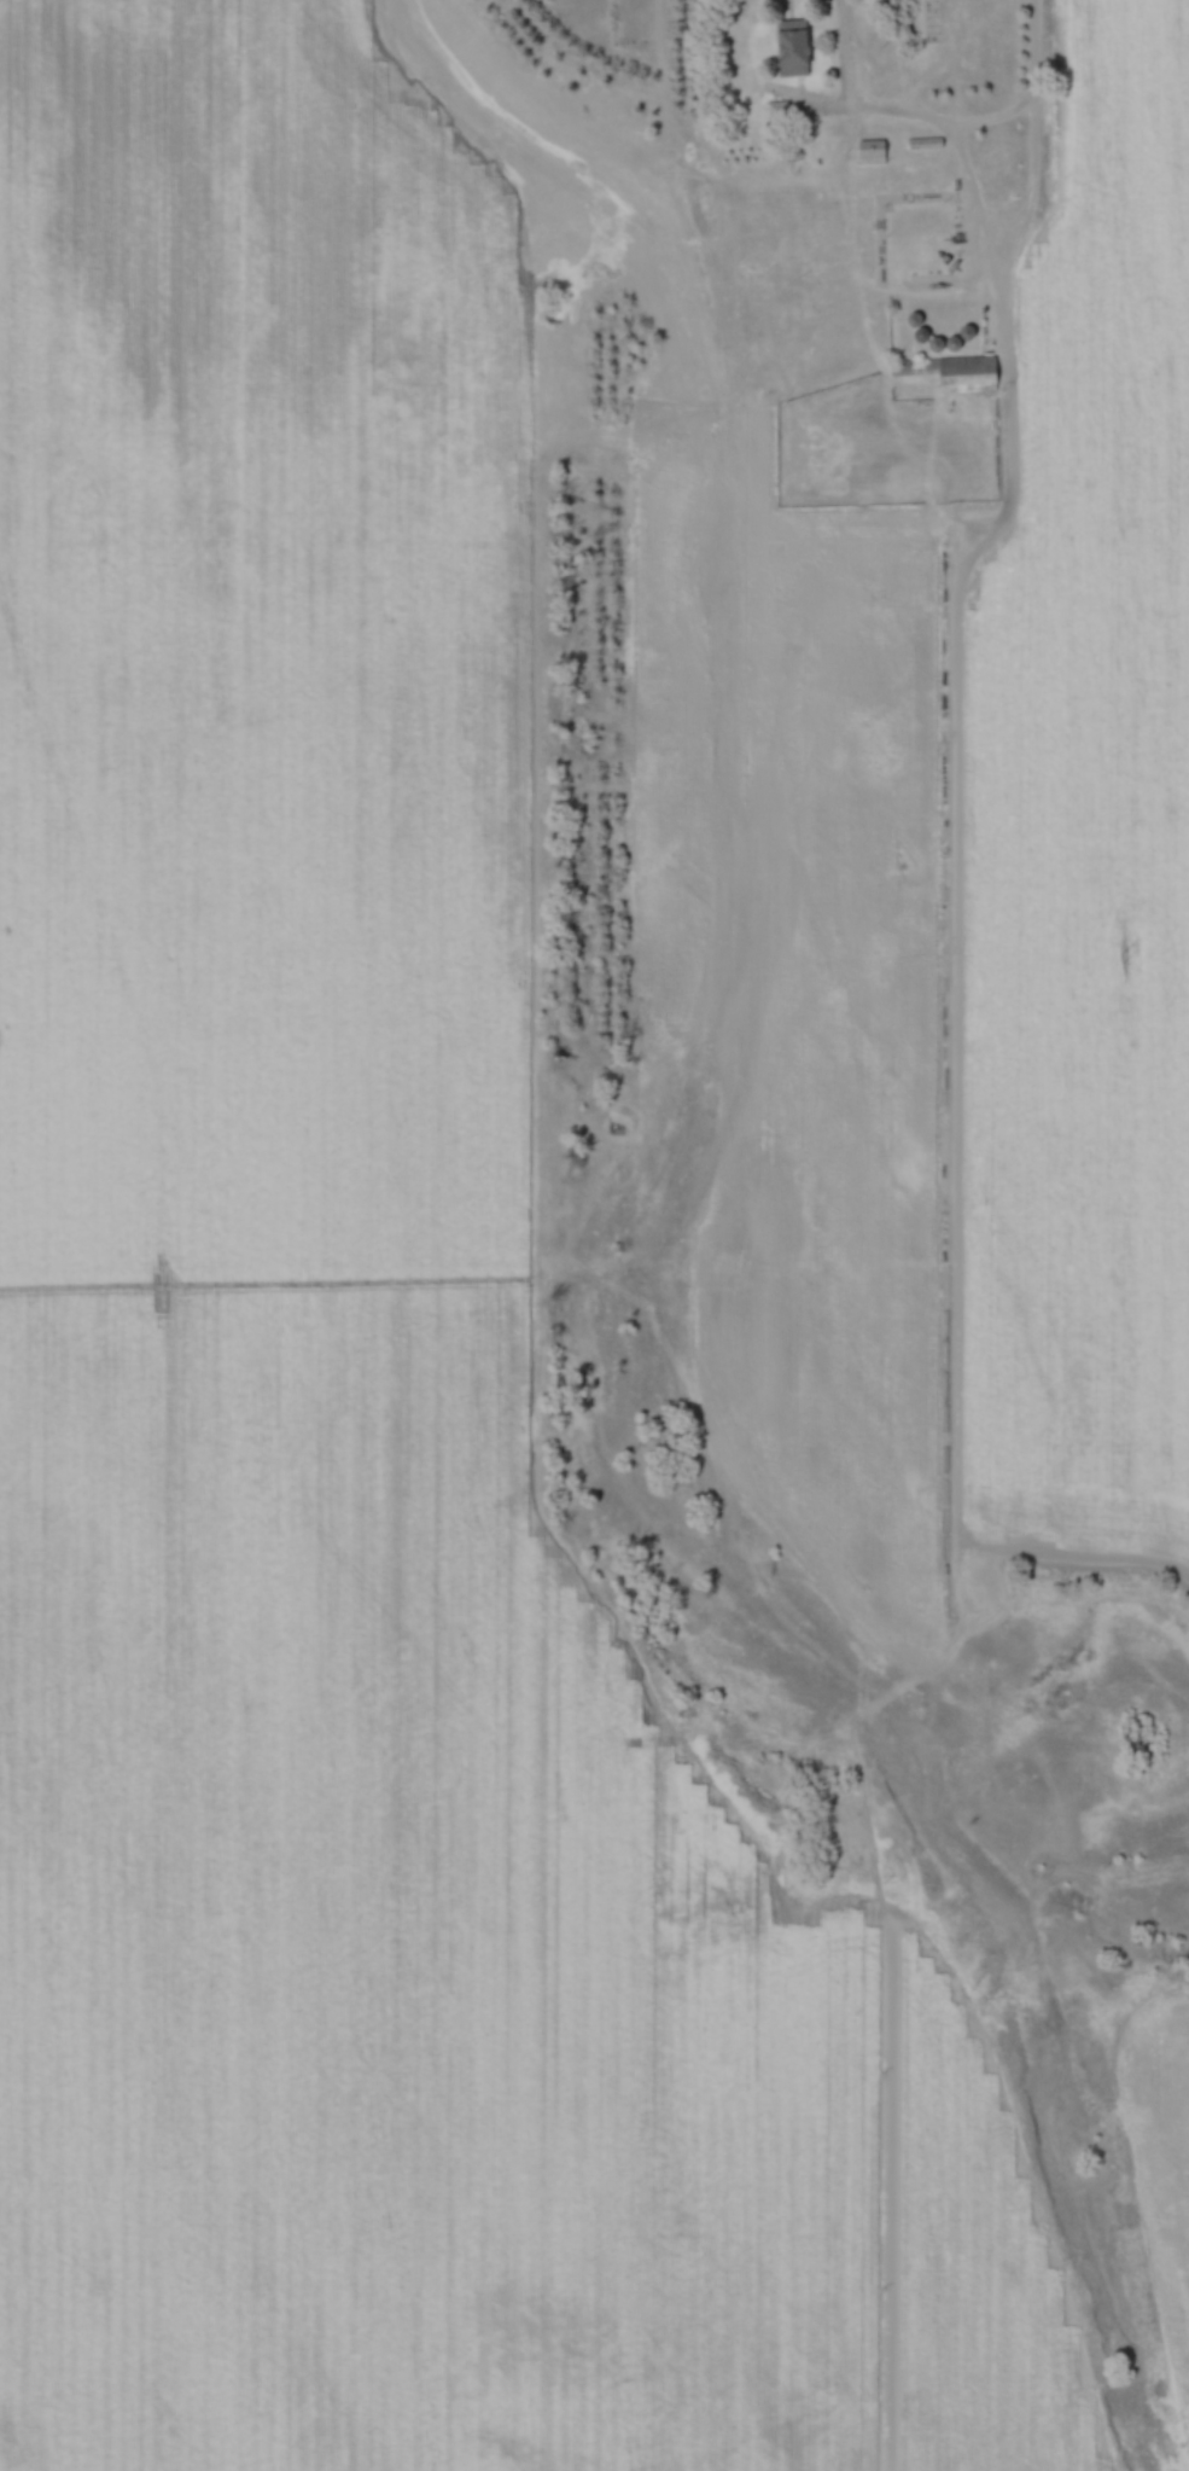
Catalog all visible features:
building: (931, 21)
building: (798, 48)
building: (781, 112)
road: (928, 116)
building: (874, 153)
building: (946, 367)
power tower: (1123, 955)
power tower: (555, 1004)

